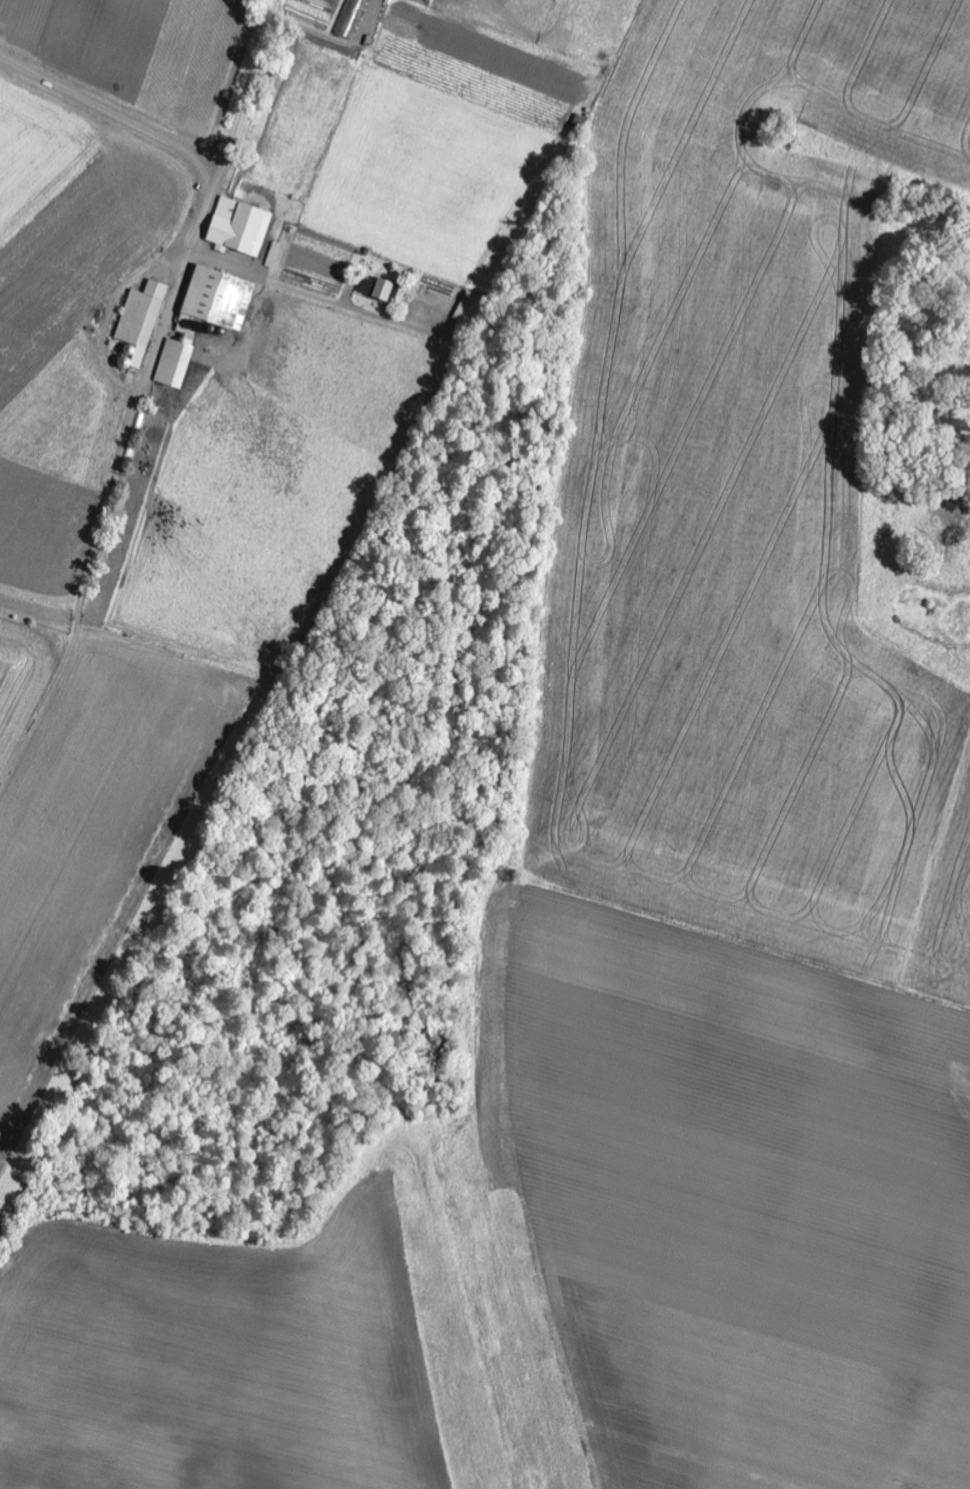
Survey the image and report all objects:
building: (351, 17)
road: (236, 125)
building: (239, 227)
building: (365, 288)
building: (386, 290)
building: (468, 308)
building: (204, 318)
building: (139, 323)

